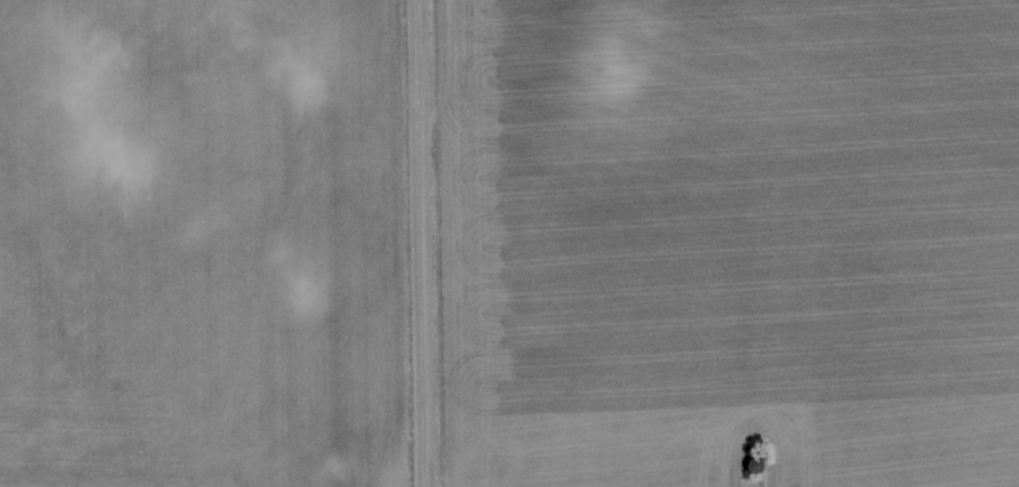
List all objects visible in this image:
crop: (729, 242)
road: (420, 243)
crop: (201, 244)
building: (746, 469)

